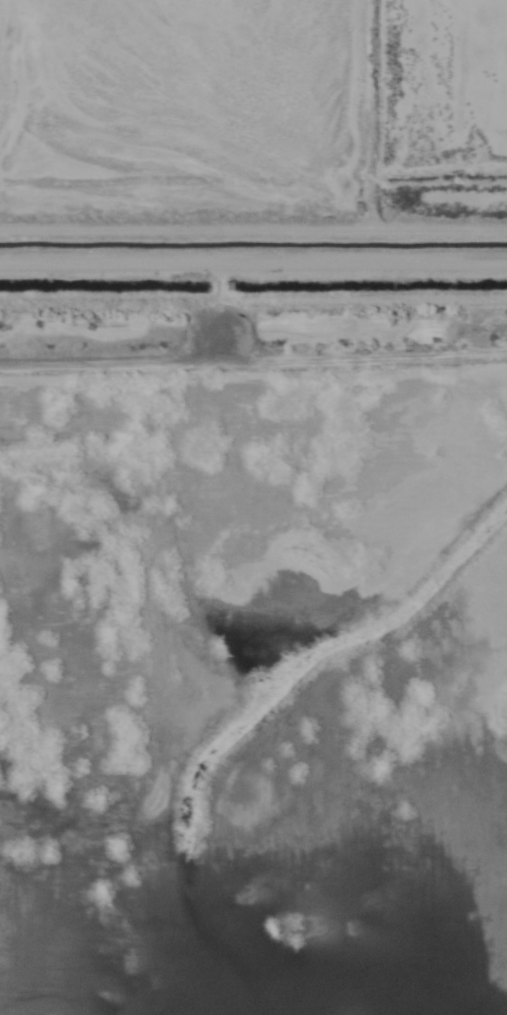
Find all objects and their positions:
road: (253, 260)
road: (217, 280)
parking lot: (221, 335)

